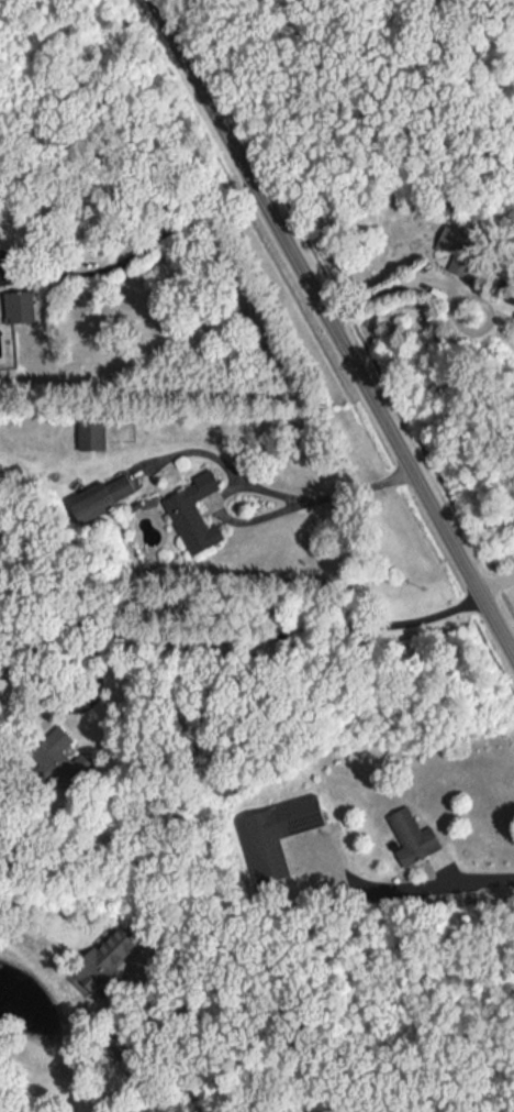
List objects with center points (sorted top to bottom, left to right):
park: (9, 4)
park: (258, 81)
building: (454, 250)
road: (135, 252)
road: (410, 280)
building: (12, 307)
road: (334, 331)
building: (86, 434)
building: (118, 485)
road: (259, 485)
building: (185, 503)
building: (89, 504)
road: (487, 563)
road: (155, 630)
building: (59, 761)
building: (272, 836)
building: (405, 838)
road: (400, 869)
building: (97, 959)
road: (128, 992)
road: (195, 1096)

